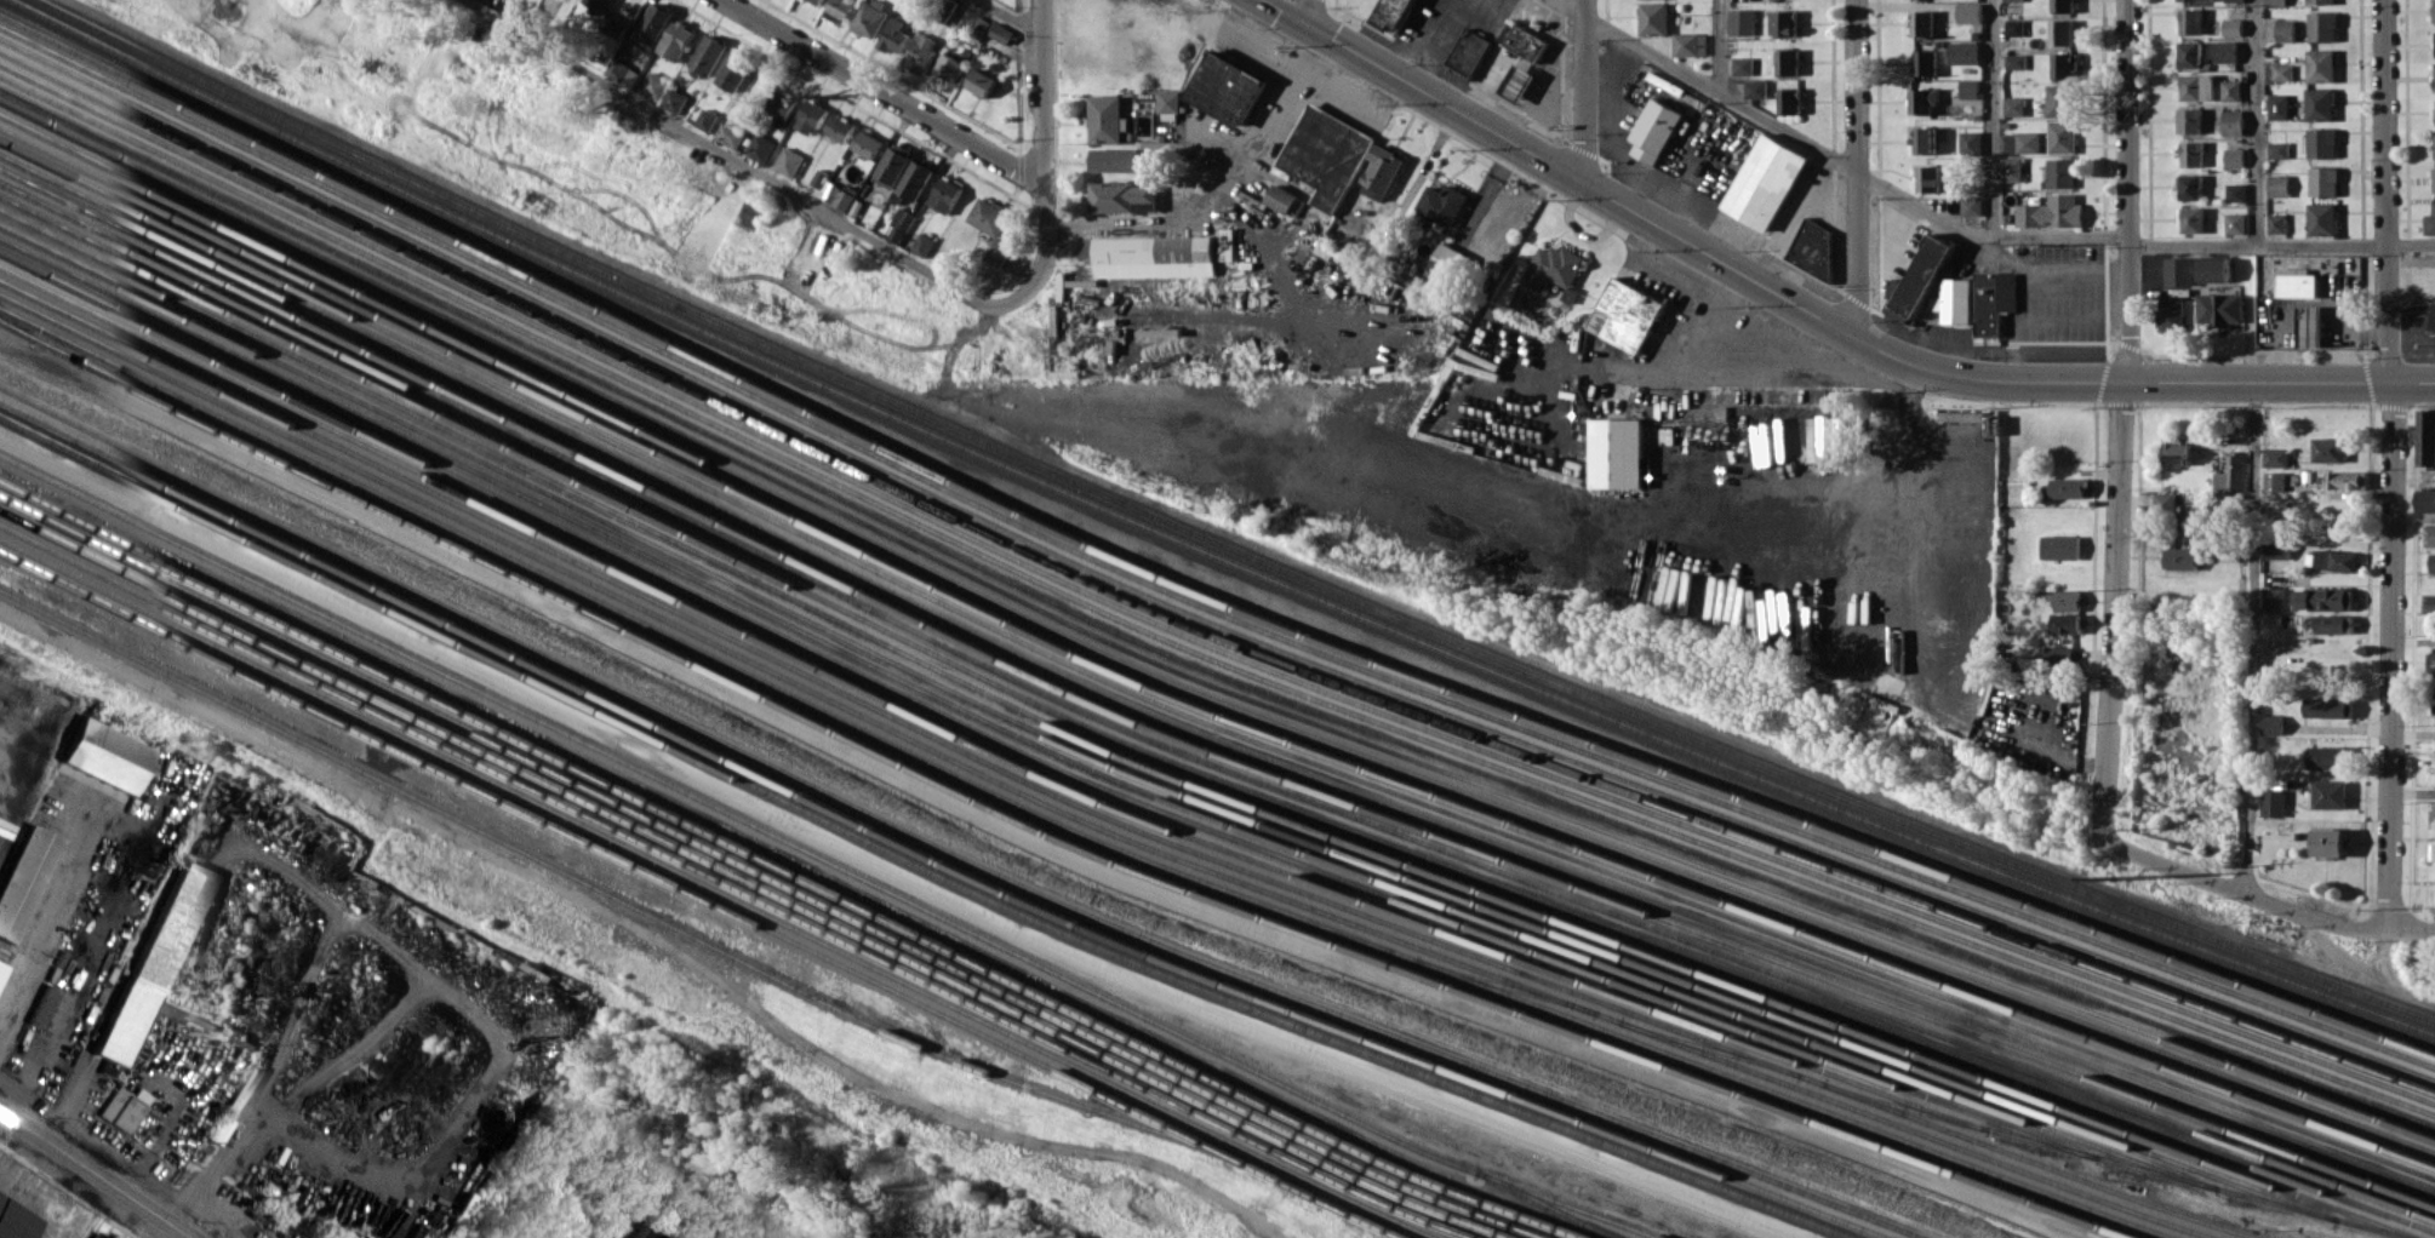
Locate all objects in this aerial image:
building: (2012, 0)
building: (2199, 0)
building: (2234, 0)
building: (818, 1)
building: (2275, 1)
building: (2321, 1)
building: (2062, 6)
building: (598, 8)
building: (841, 8)
road: (1301, 8)
building: (2433, 11)
building: (1968, 12)
building: (1394, 15)
road: (1010, 17)
building: (871, 18)
building: (1653, 18)
building: (1740, 21)
building: (2191, 21)
building: (1784, 22)
building: (1921, 23)
building: (655, 24)
building: (616, 25)
building: (2322, 25)
building: (2014, 27)
building: (2286, 30)
building: (2060, 31)
building: (1001, 33)
building: (894, 36)
building: (678, 40)
building: (1524, 41)
building: (1688, 44)
road: (1719, 46)
building: (1469, 51)
building: (2227, 51)
building: (921, 52)
building: (1964, 52)
building: (2190, 53)
building: (709, 55)
building: (1787, 61)
building: (2016, 61)
building: (1926, 62)
building: (2064, 64)
building: (1742, 65)
building: (2321, 65)
building: (950, 67)
building: (734, 70)
building: (2282, 71)
building: (982, 82)
building: (1519, 84)
building: (655, 85)
road: (1707, 85)
road: (1856, 86)
building: (2197, 87)
building: (1227, 88)
building: (1755, 88)
building: (1968, 88)
road: (1584, 90)
building: (2231, 90)
road: (885, 93)
building: (1788, 99)
building: (1922, 99)
building: (674, 101)
building: (1170, 101)
building: (2059, 101)
building: (784, 103)
building: (2320, 103)
building: (2014, 105)
building: (2279, 107)
building: (811, 116)
road: (1269, 116)
road: (1993, 116)
building: (707, 119)
building: (1108, 119)
building: (2189, 120)
building: (2233, 121)
road: (2256, 121)
building: (840, 128)
road: (1045, 130)
building: (1656, 130)
building: (731, 134)
building: (2062, 136)
building: (1924, 139)
building: (1970, 142)
building: (2028, 142)
building: (2322, 142)
building: (868, 144)
building: (762, 147)
building: (2277, 149)
building: (2193, 154)
building: (1326, 155)
building: (2234, 156)
building: (1115, 160)
building: (789, 161)
building: (893, 164)
road: (1551, 165)
building: (2011, 168)
building: (1382, 171)
road: (2127, 171)
building: (2060, 172)
road: (762, 174)
building: (1928, 178)
building: (915, 179)
building: (2434, 179)
building: (2325, 180)
building: (1765, 182)
building: (2277, 185)
building: (2190, 187)
building: (2236, 191)
building: (945, 194)
building: (838, 195)
building: (1124, 196)
building: (1284, 200)
building: (1444, 202)
building: (1971, 206)
building: (2052, 212)
building: (990, 216)
road: (1240, 216)
building: (2322, 218)
building: (2193, 219)
building: (2430, 222)
building: (2235, 223)
building: (2276, 223)
road: (1984, 234)
building: (924, 243)
road: (2281, 243)
building: (1813, 246)
building: (999, 252)
road: (1857, 253)
building: (1155, 256)
building: (1447, 262)
building: (1554, 266)
building: (2213, 269)
building: (2179, 270)
road: (2050, 271)
building: (2297, 282)
building: (1955, 300)
building: (1993, 300)
building: (2219, 308)
building: (2170, 313)
building: (1627, 314)
road: (2037, 315)
building: (2431, 316)
building: (2311, 326)
railway: (13, 331)
road: (1674, 343)
road: (2127, 361)
road: (2133, 380)
road: (2122, 395)
building: (1822, 415)
building: (2425, 436)
building: (2328, 448)
building: (1617, 452)
building: (2177, 453)
building: (2276, 457)
road: (2393, 464)
building: (2230, 477)
building: (2347, 480)
building: (2274, 481)
building: (2069, 487)
building: (2425, 499)
building: (2165, 500)
road: (2413, 518)
building: (2429, 534)
railway: (1225, 545)
building: (2060, 546)
railway: (1208, 552)
building: (2182, 557)
building: (2336, 560)
building: (2431, 562)
railway: (1195, 585)
building: (2274, 597)
building: (2323, 598)
railway: (1194, 600)
building: (2068, 600)
building: (2429, 603)
railway: (1193, 615)
building: (2067, 623)
road: (2114, 624)
building: (2334, 624)
railway: (1193, 629)
road: (2252, 638)
railway: (1193, 641)
railway: (1191, 653)
building: (2059, 655)
building: (2430, 661)
railway: (1193, 663)
railway: (1193, 676)
railway: (1193, 688)
building: (2434, 693)
railway: (1193, 703)
building: (2328, 707)
railway: (894, 717)
railway: (1193, 717)
building: (2271, 723)
railway: (1193, 728)
railway: (973, 741)
railway: (1193, 743)
railway: (1027, 752)
building: (105, 755)
railway: (1193, 756)
building: (2327, 757)
railway: (1085, 763)
railway: (1194, 769)
railway: (1144, 776)
railway: (1185, 780)
building: (2330, 793)
road: (2412, 793)
building: (2273, 803)
building: (2431, 818)
railway: (1088, 821)
railway: (1065, 824)
railway: (1045, 831)
road: (1013, 835)
building: (2328, 842)
railway: (949, 847)
railway: (806, 849)
railway: (930, 854)
railway: (911, 861)
road: (886, 867)
railway: (790, 869)
railway: (773, 873)
building: (23, 877)
railway: (701, 879)
railway: (755, 879)
railway: (738, 883)
railway: (697, 892)
road: (2243, 894)
railway: (617, 899)
road: (52, 923)
railway: (1305, 927)
road: (2412, 930)
road: (605, 941)
building: (152, 963)
railway: (1503, 985)
building: (48, 1009)
railway: (1707, 1048)
building: (124, 1107)
building: (221, 1129)
railway: (2116, 1160)
railway: (2039, 1163)
road: (95, 1174)
railway: (1570, 1204)
building: (15, 1220)
railway: (1419, 1230)
building: (644, 1232)
railway: (1402, 1234)
building: (97, 1236)

